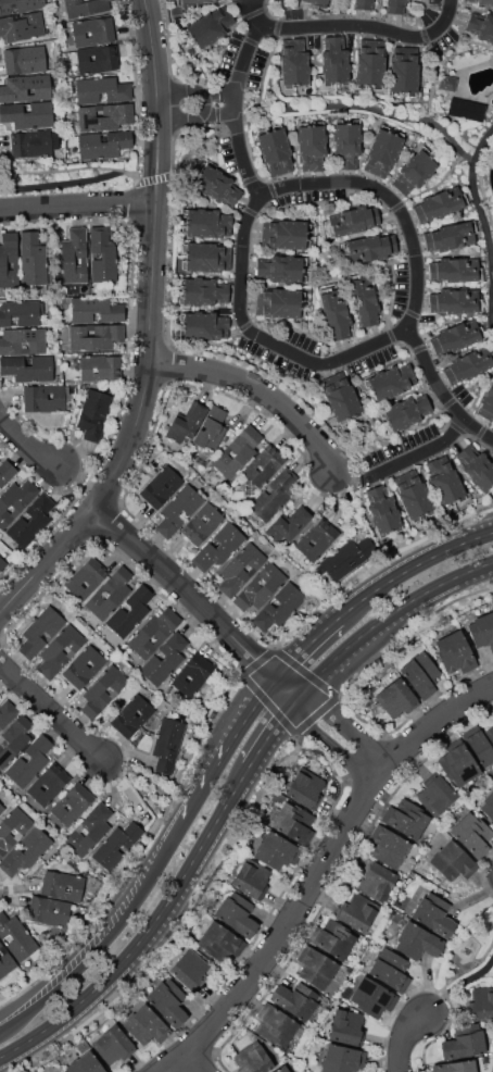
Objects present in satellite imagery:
building: (193, 2)
building: (321, 2)
building: (482, 2)
building: (21, 4)
building: (364, 4)
building: (396, 5)
building: (85, 8)
road: (369, 24)
building: (22, 26)
building: (481, 26)
building: (208, 27)
building: (92, 30)
building: (24, 59)
building: (97, 59)
building: (334, 61)
building: (294, 63)
building: (370, 63)
building: (404, 71)
building: (447, 83)
building: (26, 88)
building: (101, 89)
road: (238, 97)
road: (225, 101)
road: (213, 103)
road: (369, 109)
building: (466, 109)
building: (27, 114)
building: (104, 116)
building: (34, 142)
building: (103, 144)
building: (347, 144)
building: (312, 146)
building: (275, 150)
building: (383, 151)
road: (457, 155)
building: (416, 171)
road: (81, 179)
building: (215, 185)
road: (479, 201)
building: (440, 203)
road: (79, 208)
building: (353, 221)
building: (206, 223)
building: (286, 235)
building: (453, 236)
building: (369, 248)
building: (74, 255)
building: (102, 255)
building: (9, 258)
building: (205, 258)
road: (420, 259)
building: (33, 260)
building: (281, 267)
building: (454, 270)
building: (203, 291)
building: (364, 299)
building: (454, 300)
building: (280, 302)
building: (96, 310)
building: (20, 312)
building: (334, 313)
building: (203, 326)
road: (160, 333)
building: (94, 336)
building: (456, 336)
road: (271, 337)
building: (22, 340)
building: (469, 364)
building: (100, 366)
building: (28, 367)
building: (390, 382)
road: (264, 390)
building: (42, 399)
building: (342, 400)
building: (486, 403)
building: (404, 413)
building: (93, 414)
building: (189, 421)
building: (211, 429)
road: (27, 441)
building: (238, 452)
road: (422, 458)
building: (265, 464)
building: (476, 468)
building: (7, 472)
building: (444, 482)
building: (162, 486)
road: (80, 487)
building: (274, 495)
building: (413, 496)
building: (16, 501)
building: (178, 510)
building: (382, 511)
building: (30, 522)
building: (202, 524)
building: (290, 524)
building: (317, 539)
building: (218, 547)
building: (347, 557)
building: (2, 564)
building: (241, 569)
road: (412, 570)
building: (86, 577)
building: (261, 587)
building: (110, 591)
building: (279, 607)
building: (131, 611)
road: (389, 620)
building: (40, 631)
building: (482, 631)
building: (154, 632)
road: (241, 640)
road: (307, 648)
building: (60, 650)
building: (455, 652)
building: (165, 659)
building: (84, 666)
building: (193, 674)
building: (420, 674)
building: (103, 690)
building: (395, 698)
building: (7, 713)
road: (54, 714)
building: (132, 715)
road: (276, 732)
building: (13, 739)
building: (168, 745)
building: (482, 745)
road: (230, 748)
building: (29, 761)
building: (458, 765)
building: (50, 784)
road: (152, 785)
building: (306, 789)
building: (435, 796)
building: (73, 803)
building: (488, 805)
building: (1, 809)
building: (407, 819)
building: (293, 822)
building: (90, 828)
building: (5, 830)
building: (472, 834)
building: (116, 845)
building: (390, 848)
building: (275, 850)
building: (26, 851)
building: (453, 861)
road: (316, 872)
building: (251, 877)
building: (377, 882)
building: (62, 885)
road: (140, 897)
building: (48, 911)
building: (358, 912)
building: (237, 914)
building: (433, 914)
road: (149, 934)
building: (16, 936)
building: (333, 938)
building: (417, 940)
building: (219, 943)
building: (5, 960)
building: (317, 968)
building: (391, 970)
building: (191, 971)
road: (457, 987)
road: (42, 997)
building: (374, 997)
building: (295, 999)
building: (167, 1001)
building: (482, 1004)
building: (147, 1025)
building: (276, 1026)
building: (346, 1026)
road: (405, 1039)
building: (464, 1045)
building: (113, 1046)
building: (342, 1059)
building: (252, 1060)
building: (85, 1063)
road: (197, 1063)
building: (455, 1067)
building: (281, 1069)
building: (59, 1071)

